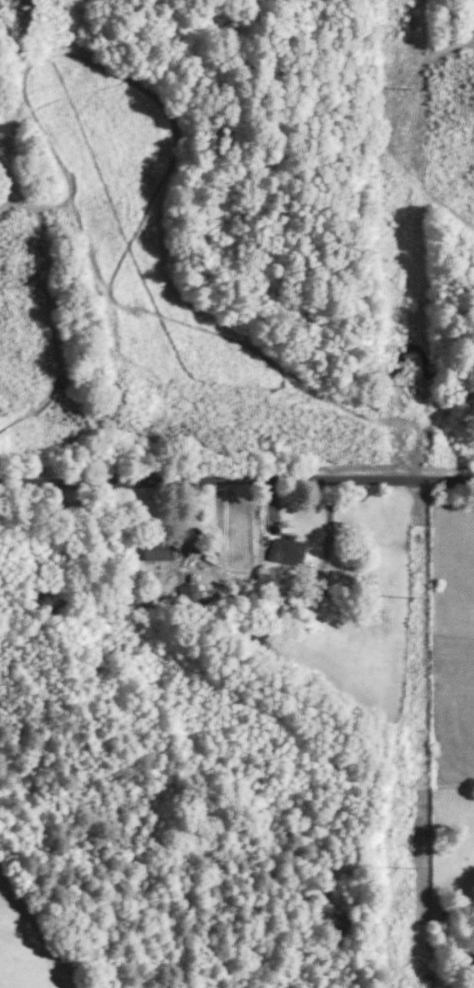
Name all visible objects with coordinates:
power tower: (405, 83)
road: (236, 479)
building: (286, 549)
building: (157, 550)
building: (190, 592)
power tower: (411, 593)
power tower: (413, 866)

